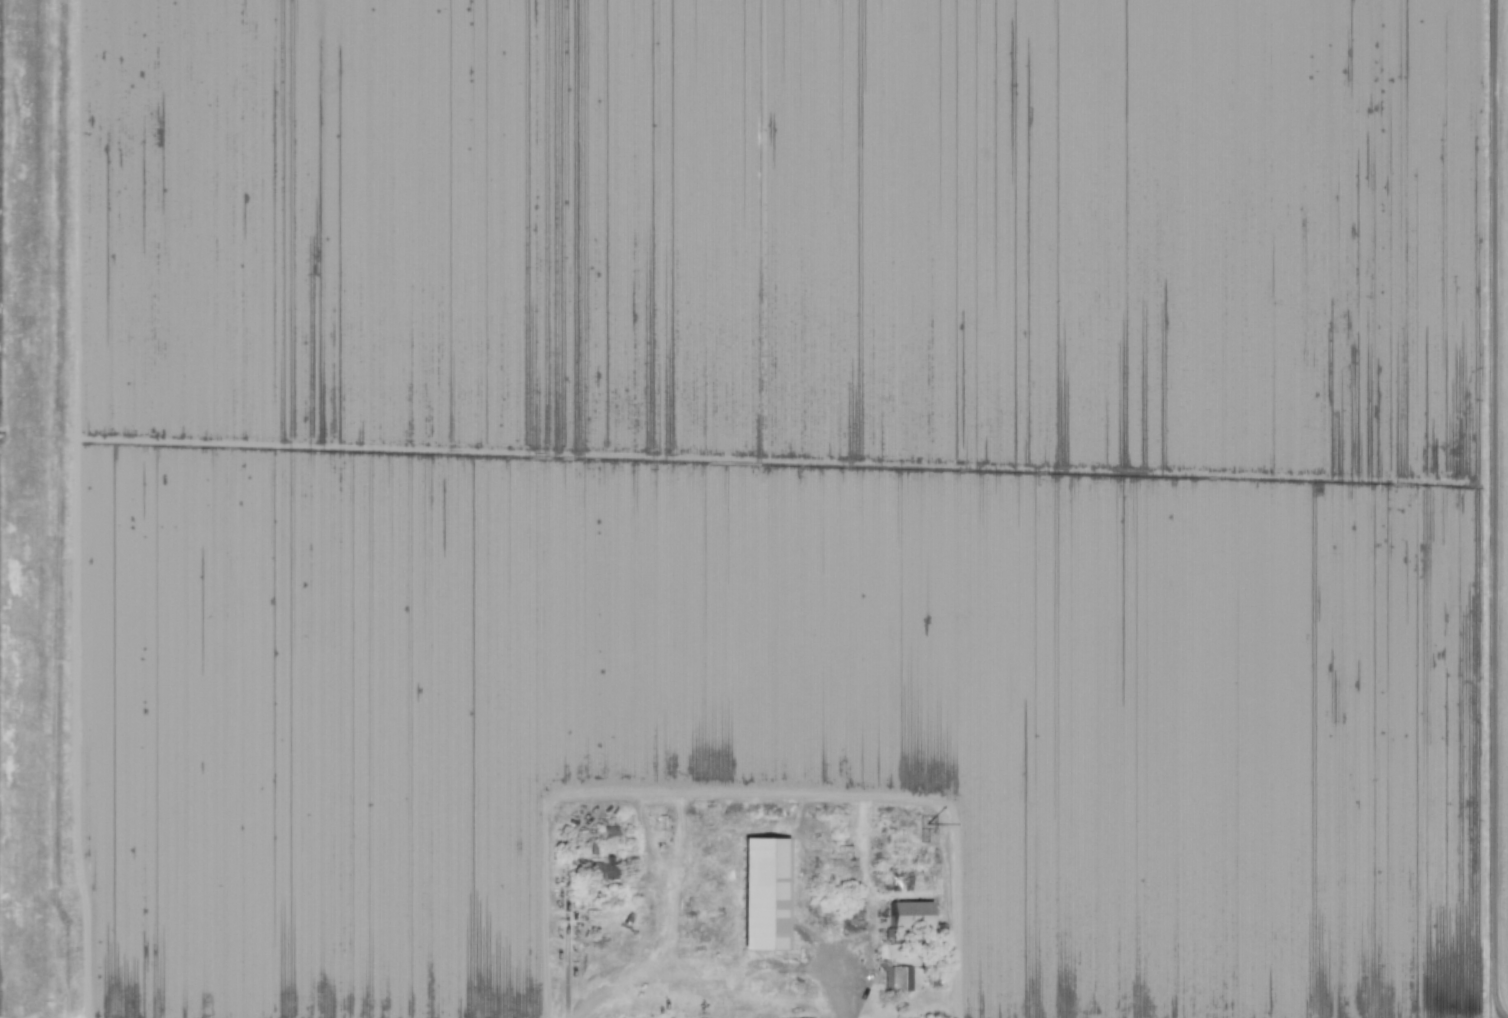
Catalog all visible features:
building: (601, 870)
building: (761, 893)
building: (907, 913)
road: (567, 948)
building: (895, 978)

